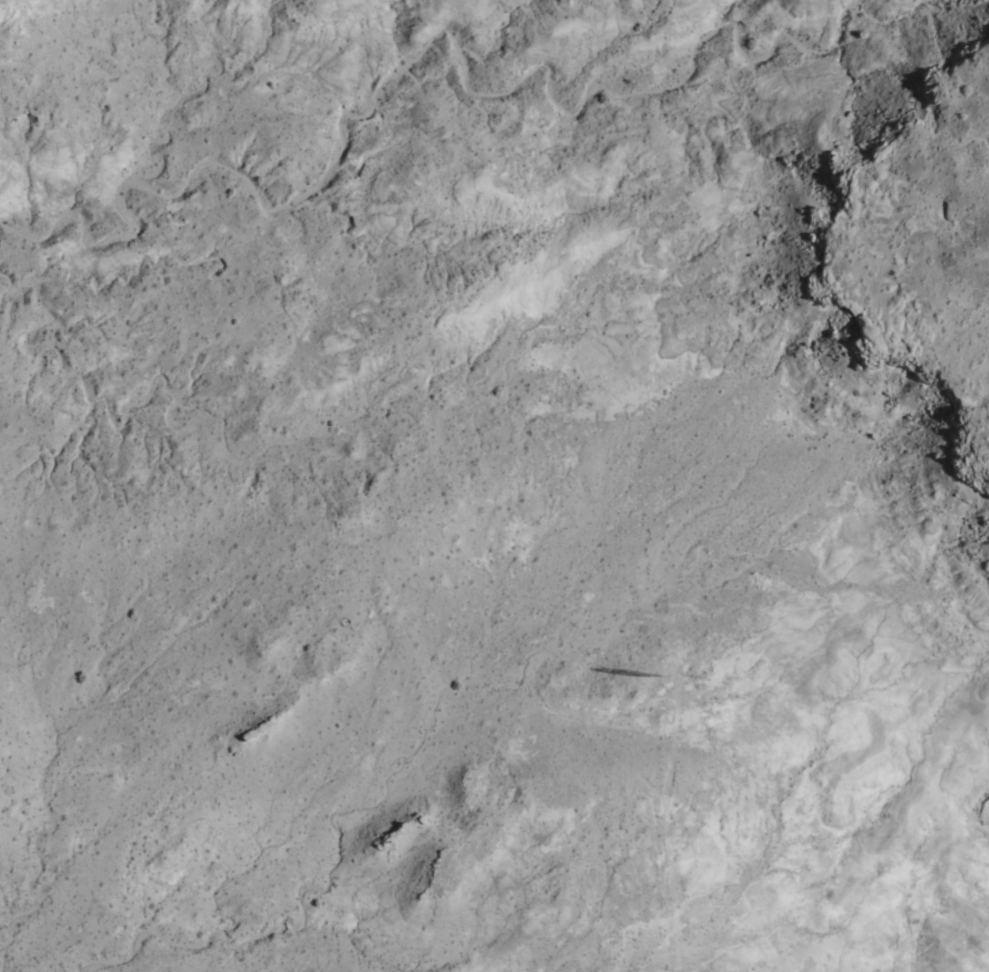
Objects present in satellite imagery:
power tower: (641, 675)

